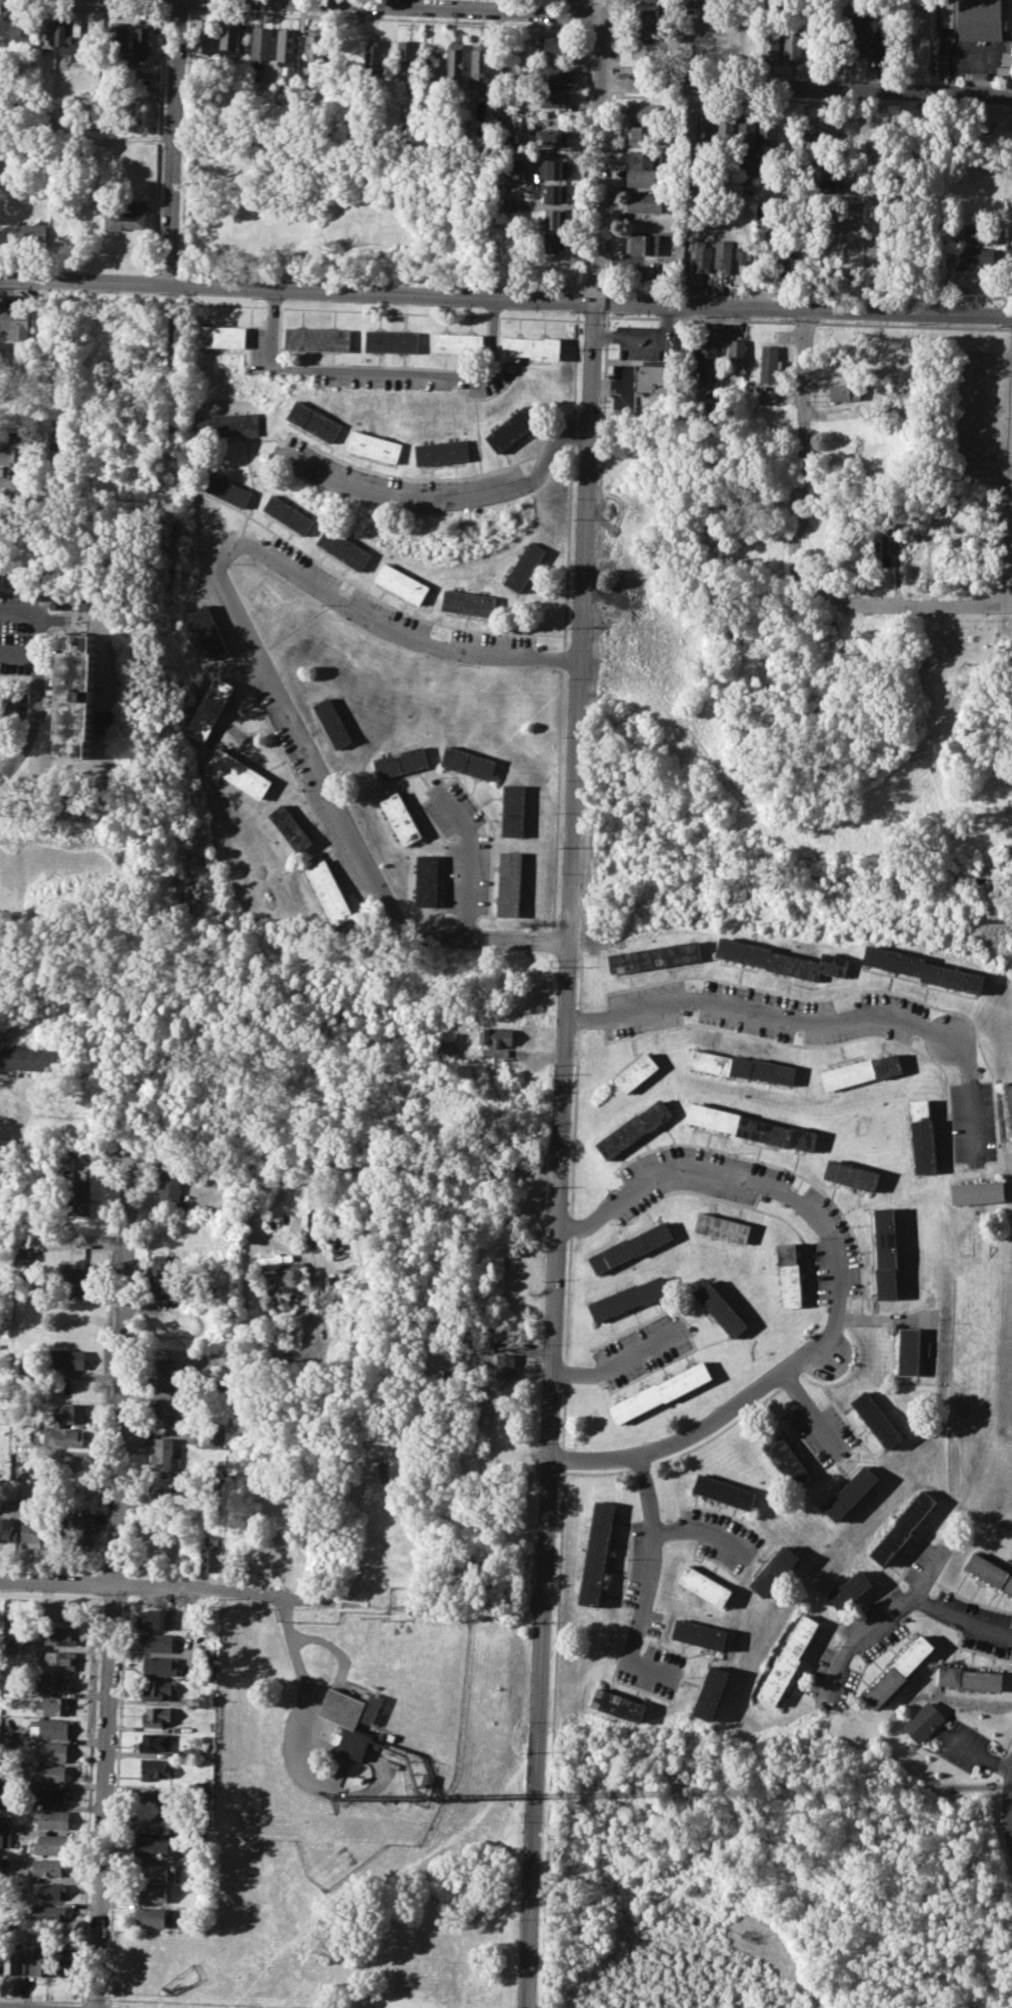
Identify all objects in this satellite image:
road: (476, 4)
building: (682, 4)
building: (650, 9)
building: (973, 15)
building: (2, 26)
building: (23, 26)
building: (650, 29)
building: (45, 31)
building: (202, 36)
building: (69, 37)
building: (116, 37)
building: (230, 37)
building: (859, 41)
building: (261, 43)
road: (697, 43)
building: (314, 44)
building: (557, 44)
building: (91, 45)
building: (771, 45)
building: (882, 45)
building: (142, 46)
building: (286, 46)
building: (793, 47)
building: (348, 48)
building: (648, 49)
parking lot: (980, 53)
building: (374, 55)
building: (407, 56)
building: (455, 62)
building: (480, 63)
building: (430, 65)
building: (554, 73)
building: (143, 84)
road: (807, 89)
building: (554, 98)
building: (646, 111)
building: (979, 122)
building: (705, 130)
building: (726, 130)
building: (768, 132)
building: (644, 134)
building: (812, 134)
building: (550, 138)
building: (748, 138)
road: (176, 142)
building: (644, 157)
building: (545, 170)
building: (214, 173)
road: (691, 175)
building: (644, 176)
building: (829, 185)
building: (556, 193)
building: (646, 201)
building: (124, 219)
building: (553, 219)
building: (32, 230)
building: (982, 233)
building: (555, 241)
building: (643, 242)
building: (744, 254)
building: (724, 255)
building: (976, 256)
building: (702, 258)
building: (788, 262)
road: (505, 298)
building: (15, 322)
building: (220, 336)
building: (318, 339)
building: (392, 340)
building: (458, 342)
building: (531, 347)
building: (737, 350)
building: (688, 354)
building: (708, 355)
building: (770, 362)
road: (382, 372)
building: (647, 374)
building: (845, 391)
road: (972, 417)
building: (314, 420)
building: (226, 424)
building: (512, 427)
road: (165, 444)
building: (375, 445)
road: (802, 446)
building: (14, 447)
building: (60, 451)
building: (443, 451)
building: (224, 488)
road: (44, 496)
road: (447, 496)
building: (288, 513)
building: (886, 546)
building: (345, 547)
road: (1010, 562)
building: (525, 566)
road: (1011, 574)
building: (403, 582)
building: (469, 602)
road: (901, 604)
parking lot: (18, 628)
building: (205, 631)
road: (255, 648)
road: (19, 653)
road: (38, 664)
road: (29, 690)
building: (76, 693)
building: (208, 708)
building: (331, 722)
park: (796, 760)
road: (13, 762)
building: (400, 762)
building: (467, 762)
building: (237, 772)
building: (512, 809)
building: (399, 818)
building: (289, 828)
road: (468, 858)
building: (426, 881)
building: (509, 883)
building: (328, 892)
building: (655, 956)
building: (782, 959)
road: (581, 960)
building: (923, 968)
road: (566, 1003)
road: (579, 1019)
road: (822, 1020)
building: (493, 1036)
building: (443, 1048)
building: (494, 1052)
building: (29, 1058)
building: (741, 1066)
building: (861, 1070)
building: (636, 1072)
building: (1009, 1105)
road: (574, 1122)
building: (751, 1126)
building: (634, 1127)
building: (922, 1137)
building: (67, 1171)
building: (849, 1174)
road: (726, 1177)
building: (169, 1189)
building: (977, 1192)
building: (78, 1196)
road: (570, 1225)
building: (722, 1228)
building: (630, 1247)
building: (885, 1252)
building: (281, 1269)
building: (163, 1271)
building: (789, 1274)
building: (78, 1279)
building: (628, 1298)
building: (719, 1307)
road: (565, 1341)
building: (908, 1350)
building: (69, 1358)
road: (619, 1361)
building: (505, 1366)
building: (165, 1372)
building: (660, 1392)
building: (169, 1409)
road: (811, 1412)
building: (72, 1413)
road: (716, 1416)
building: (877, 1419)
building: (57, 1437)
building: (208, 1438)
building: (161, 1454)
road: (561, 1457)
building: (787, 1460)
building: (723, 1491)
building: (850, 1492)
building: (164, 1494)
building: (902, 1526)
building: (84, 1527)
building: (60, 1528)
building: (6, 1529)
building: (30, 1534)
road: (695, 1535)
building: (595, 1553)
building: (211, 1559)
building: (775, 1571)
building: (989, 1571)
road: (643, 1581)
road: (111, 1585)
road: (149, 1585)
building: (704, 1586)
building: (848, 1588)
building: (59, 1610)
road: (961, 1618)
building: (155, 1619)
road: (879, 1622)
building: (698, 1633)
building: (60, 1635)
building: (157, 1642)
building: (6, 1644)
road: (331, 1644)
building: (59, 1660)
building: (786, 1660)
building: (159, 1666)
building: (899, 1670)
building: (969, 1677)
building: (57, 1681)
building: (157, 1689)
building: (709, 1692)
building: (205, 1698)
building: (617, 1704)
building: (55, 1706)
building: (155, 1716)
building: (923, 1721)
building: (52, 1728)
building: (344, 1728)
road: (552, 1738)
road: (289, 1739)
building: (154, 1741)
building: (51, 1751)
building: (191, 1752)
building: (154, 1768)
building: (50, 1772)
building: (50, 1795)
building: (5, 1799)
building: (154, 1799)
building: (52, 1818)
building: (4, 1822)
building: (152, 1825)
building: (5, 1840)
building: (52, 1844)
building: (152, 1846)
building: (49, 1867)
building: (152, 1871)
building: (3, 1875)
building: (49, 1889)
building: (152, 1894)
building: (47, 1913)
building: (151, 1917)
building: (12, 1959)
building: (64, 1961)
building: (41, 1962)
road: (42, 1999)
road: (93, 2000)
road: (224, 2002)

